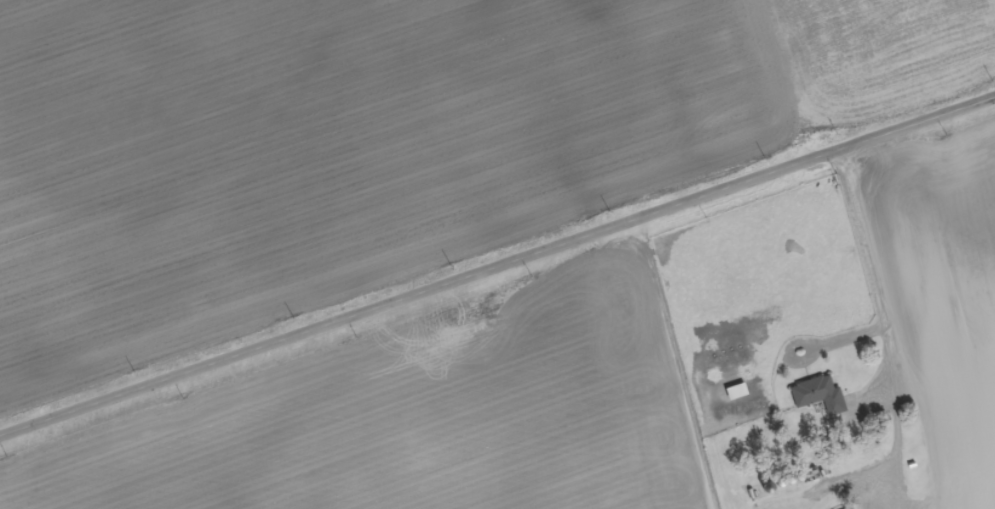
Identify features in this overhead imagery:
road: (497, 265)
road: (920, 323)
building: (819, 395)

